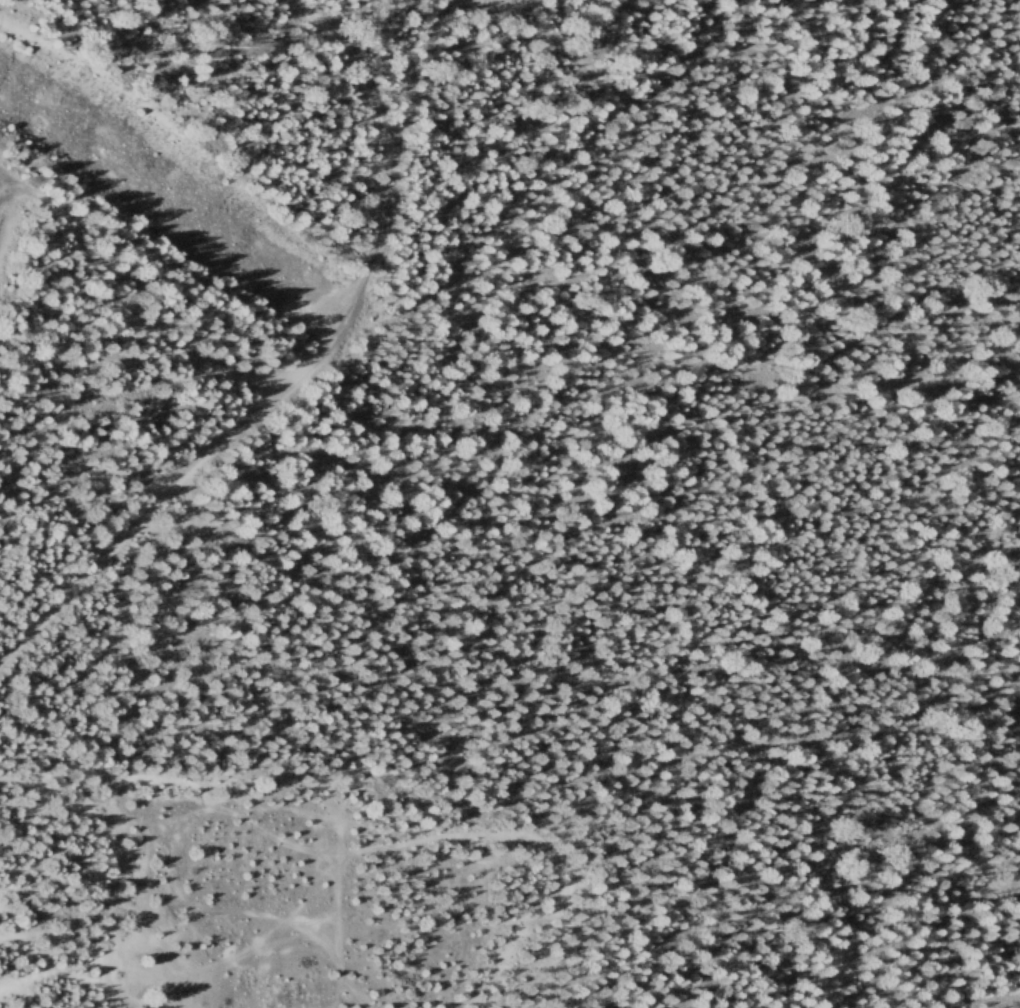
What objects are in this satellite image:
road: (407, 78)
road: (744, 196)
road: (134, 318)
road: (304, 366)
road: (188, 502)
road: (595, 681)

